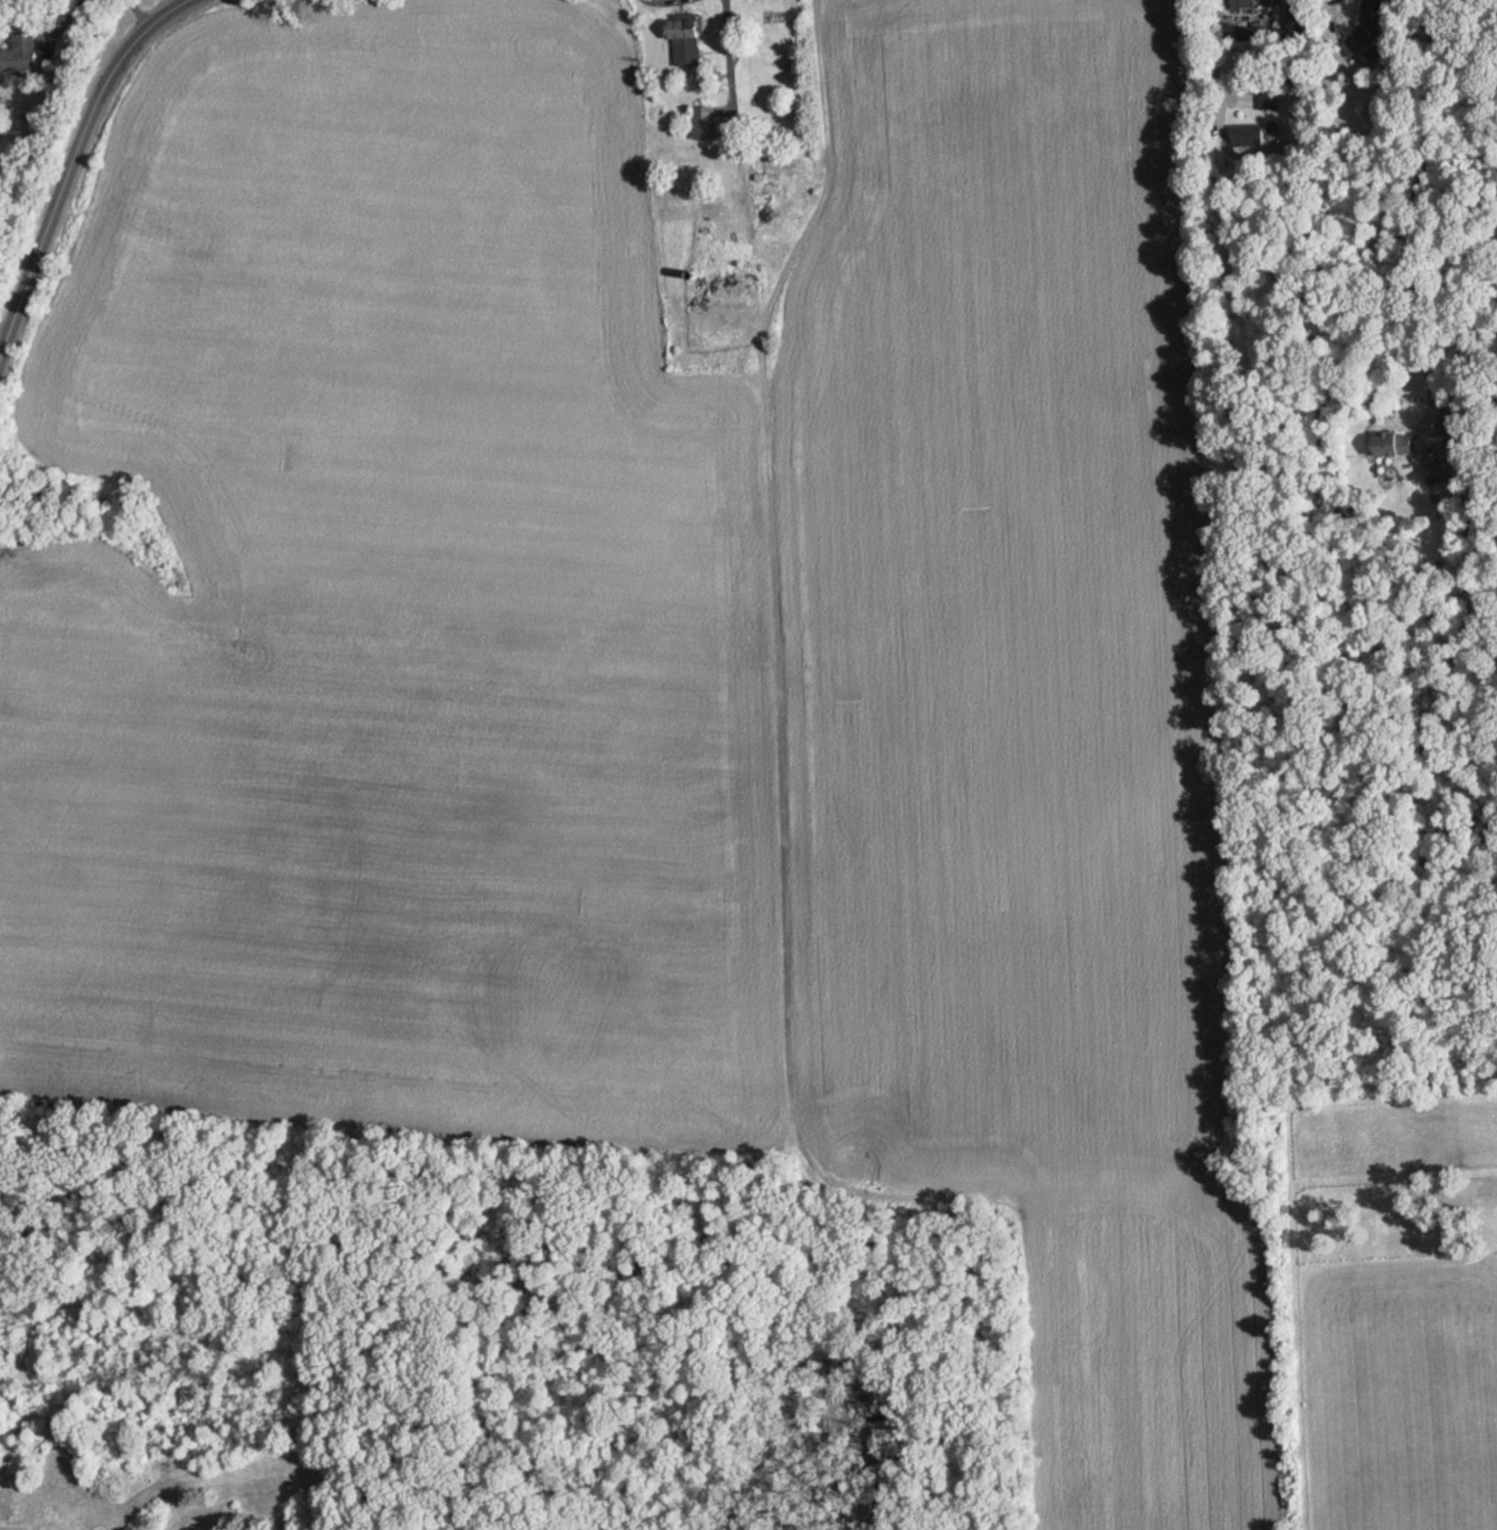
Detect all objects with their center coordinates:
building: (1244, 3)
road: (138, 12)
road: (674, 16)
road: (68, 18)
building: (1367, 22)
road: (725, 29)
building: (685, 38)
building: (1244, 38)
building: (23, 53)
road: (1213, 56)
building: (1269, 97)
building: (704, 121)
building: (1247, 134)
road: (71, 167)
building: (761, 183)
road: (1418, 212)
building: (703, 233)
building: (1437, 470)

